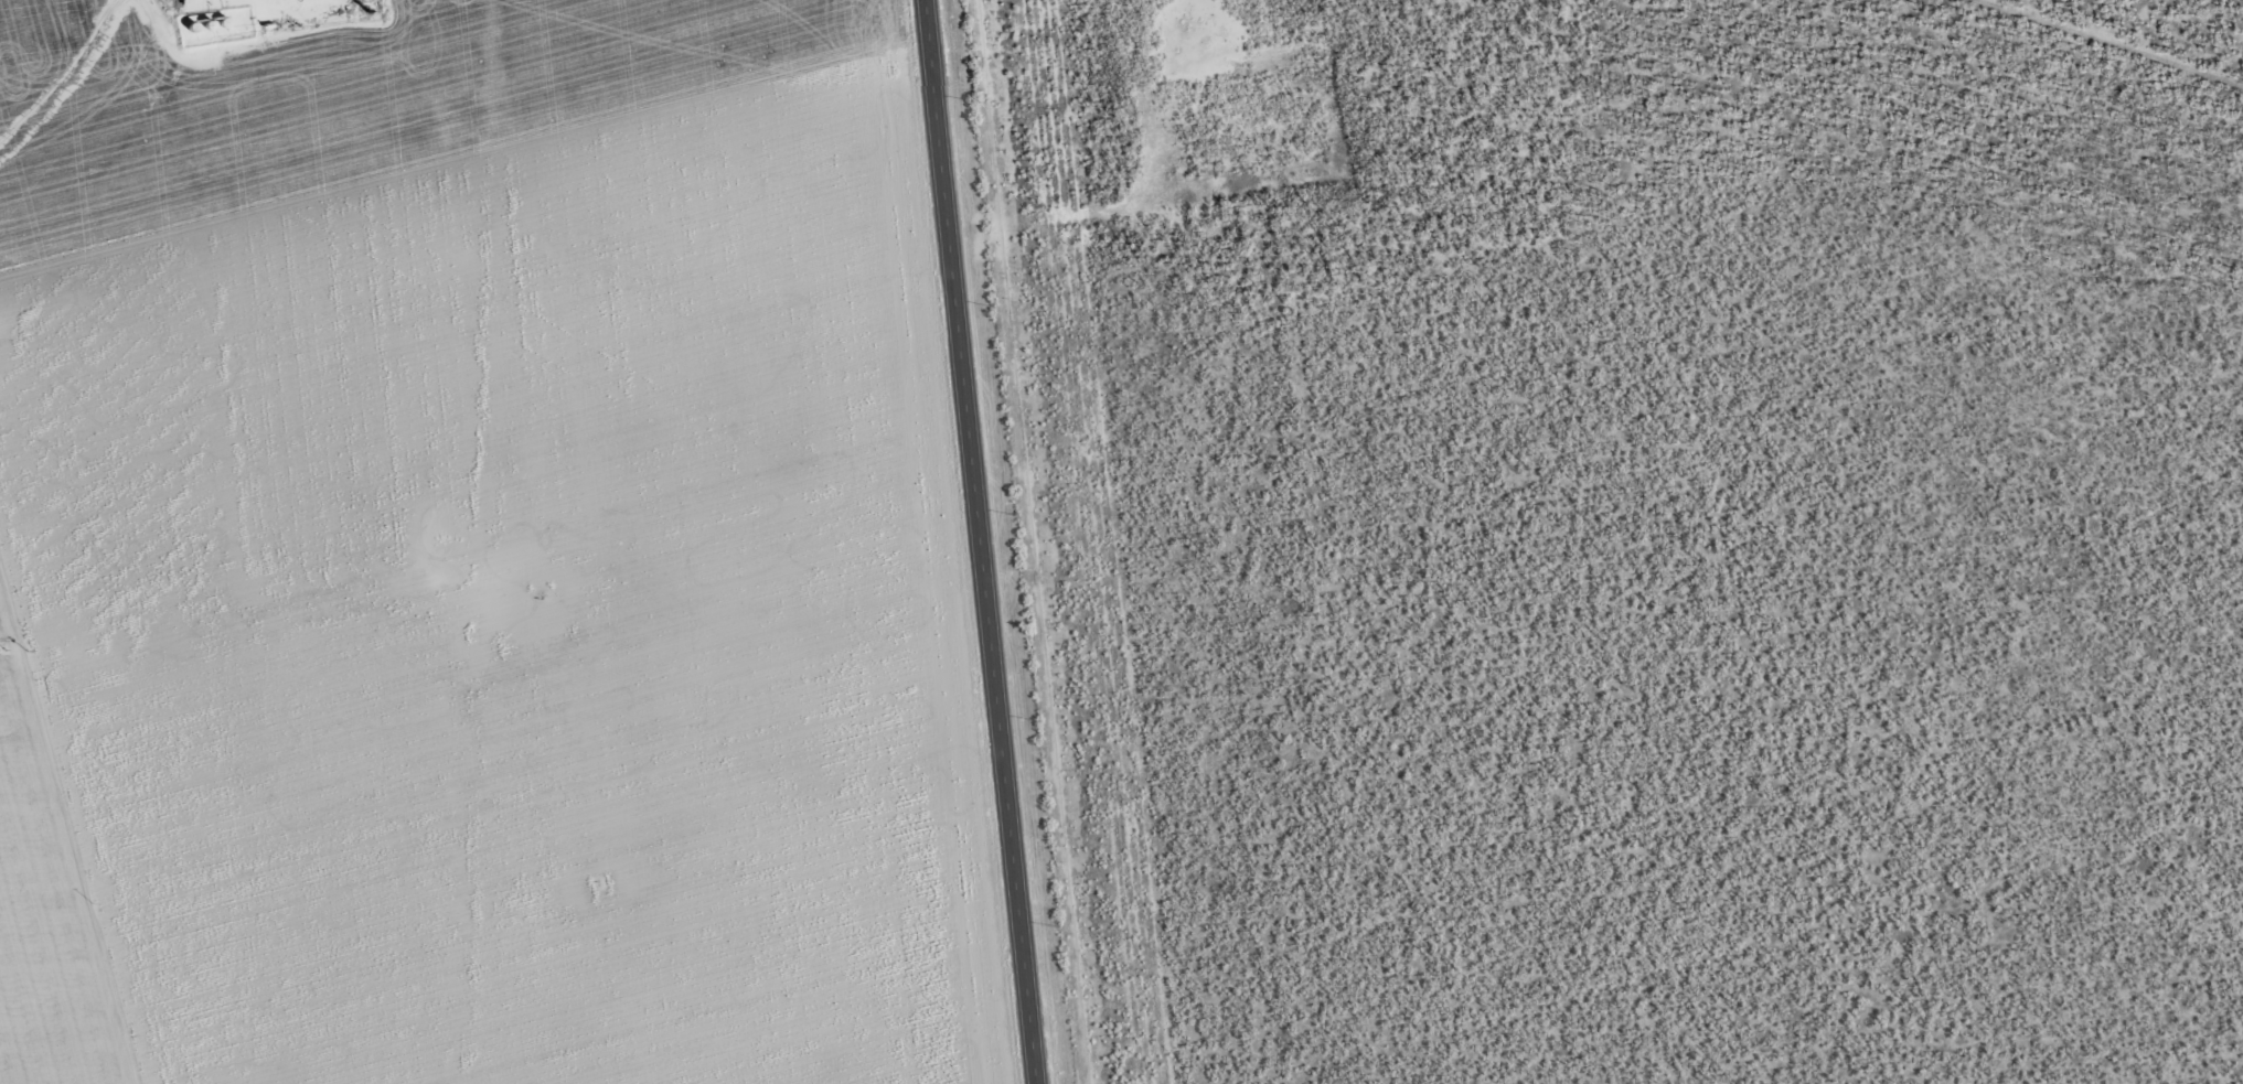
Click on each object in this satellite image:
road: (982, 541)

